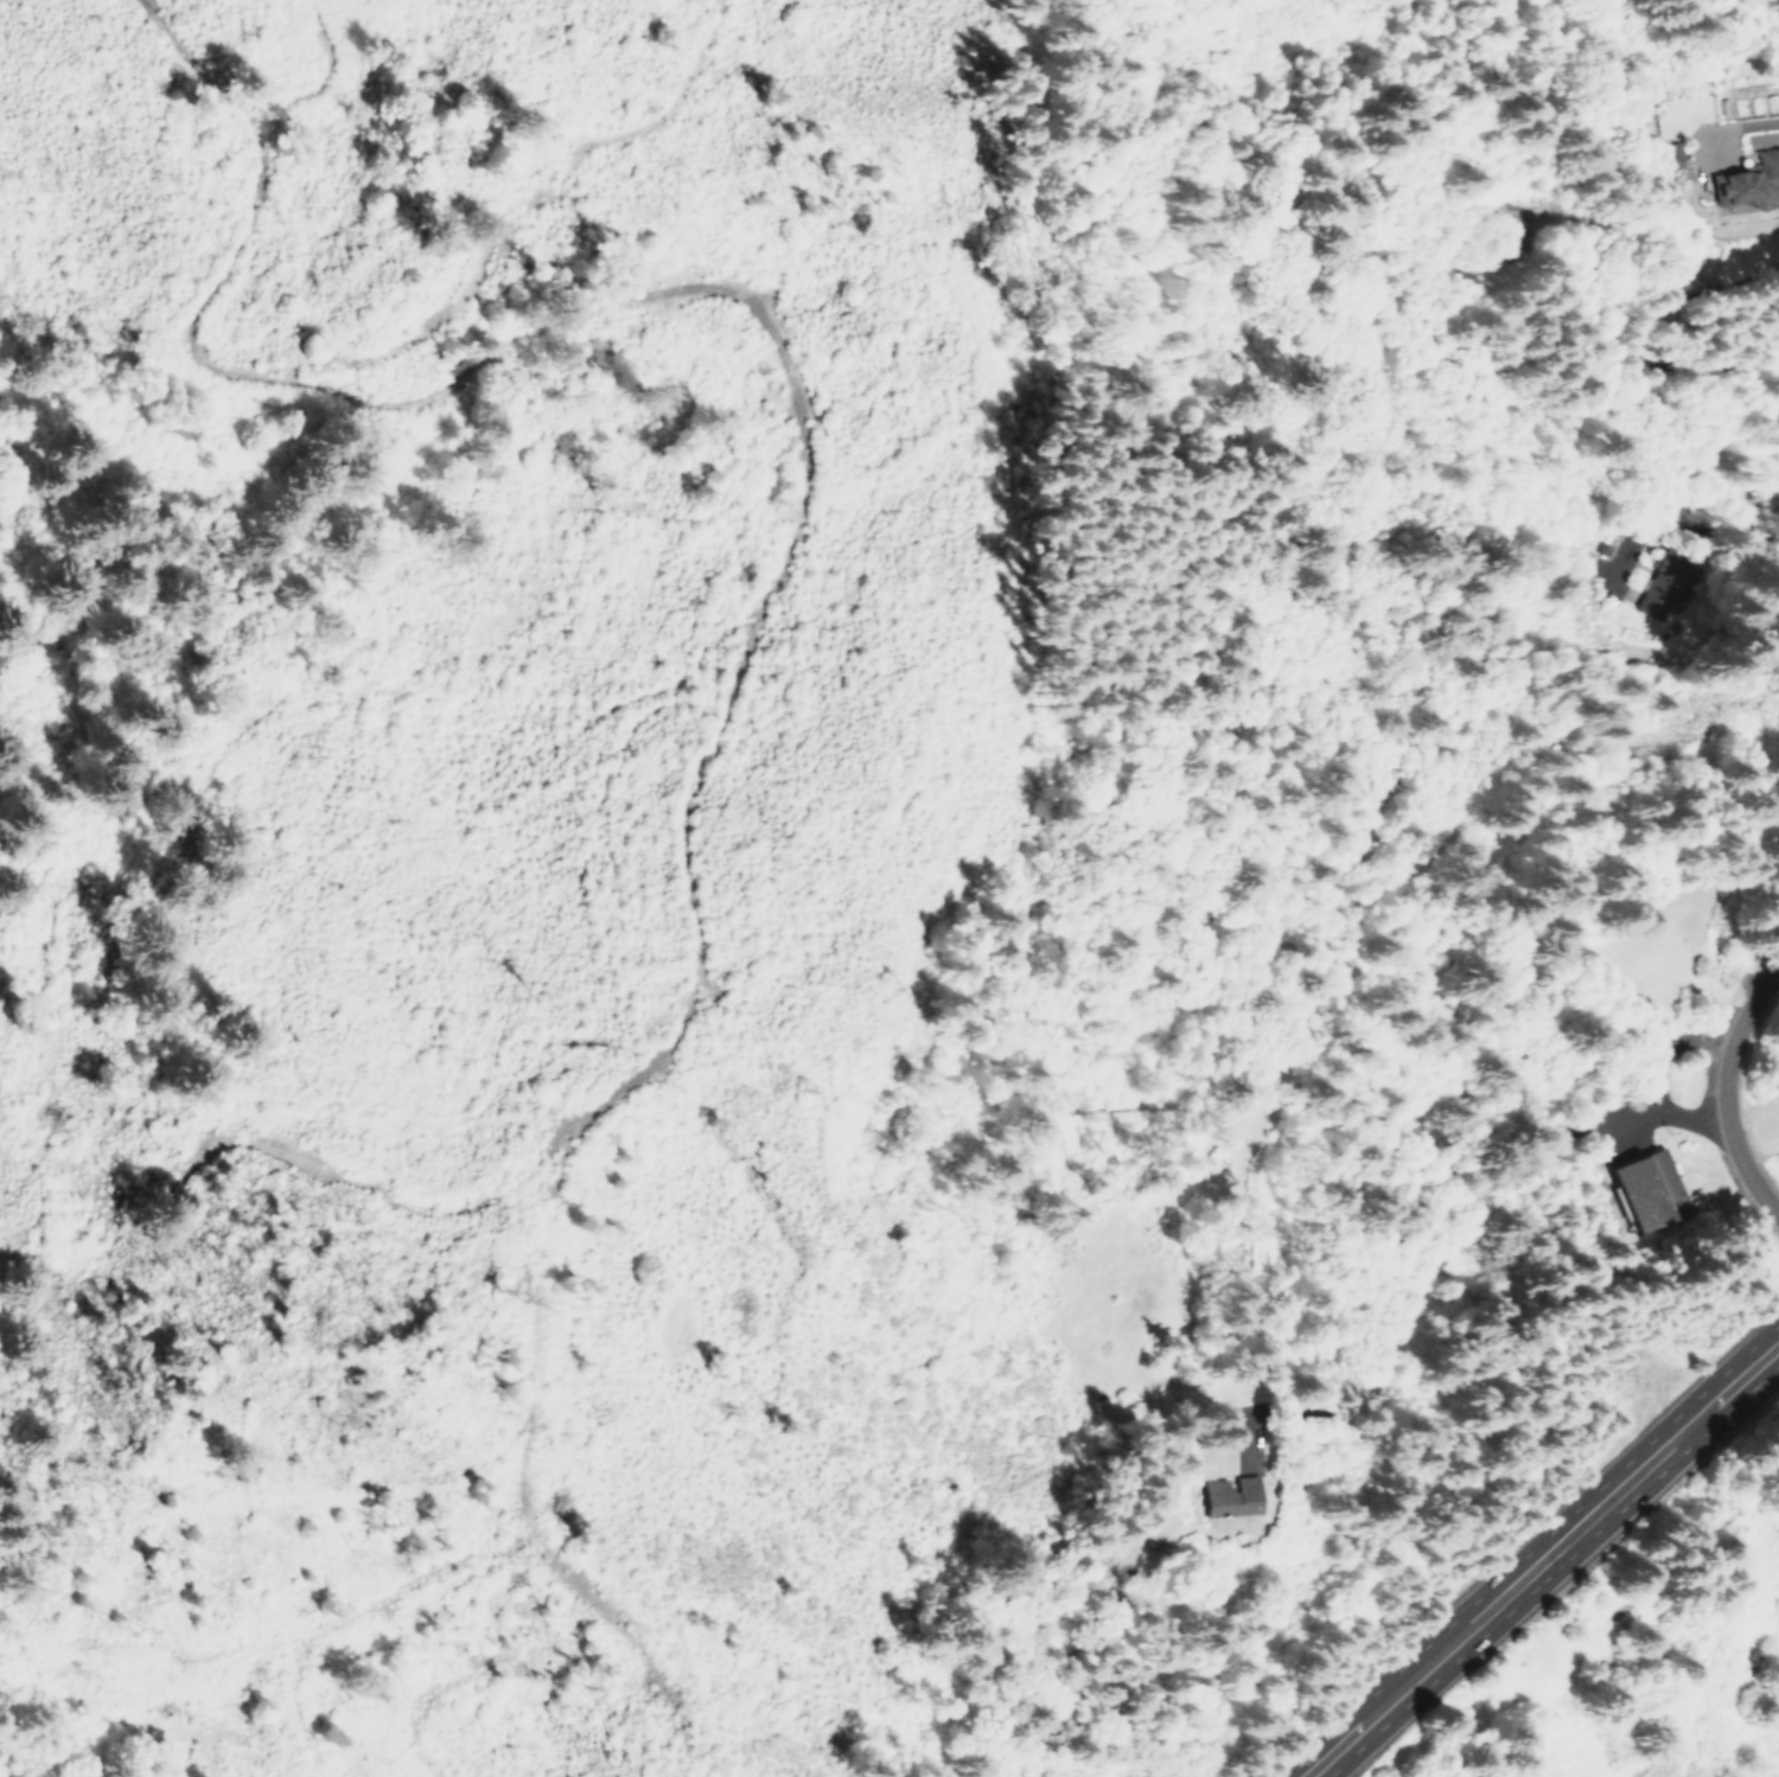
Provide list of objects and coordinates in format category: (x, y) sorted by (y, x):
building: (1670, 154)
building: (1746, 180)
road: (1733, 1099)
building: (1644, 1191)
building: (1229, 1495)
road: (1547, 1560)

